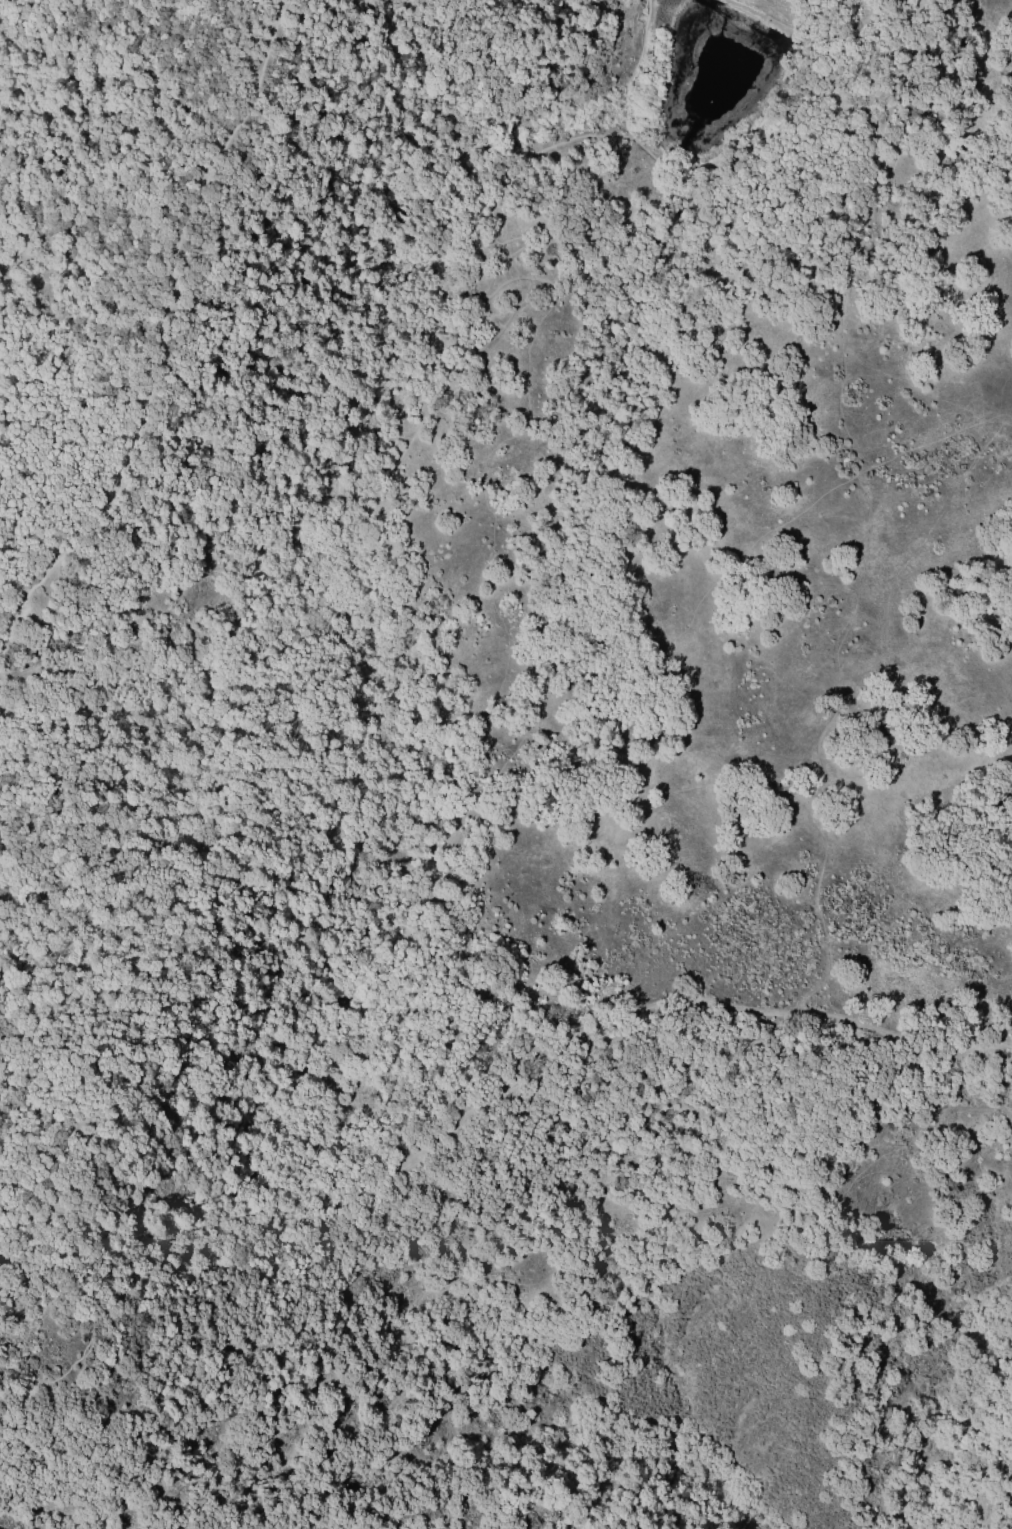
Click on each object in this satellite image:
dam: (778, 11)
road: (822, 11)
road: (762, 18)
road: (632, 69)
road: (162, 333)
road: (410, 437)
road: (472, 794)
road: (435, 1142)
road: (34, 1258)

